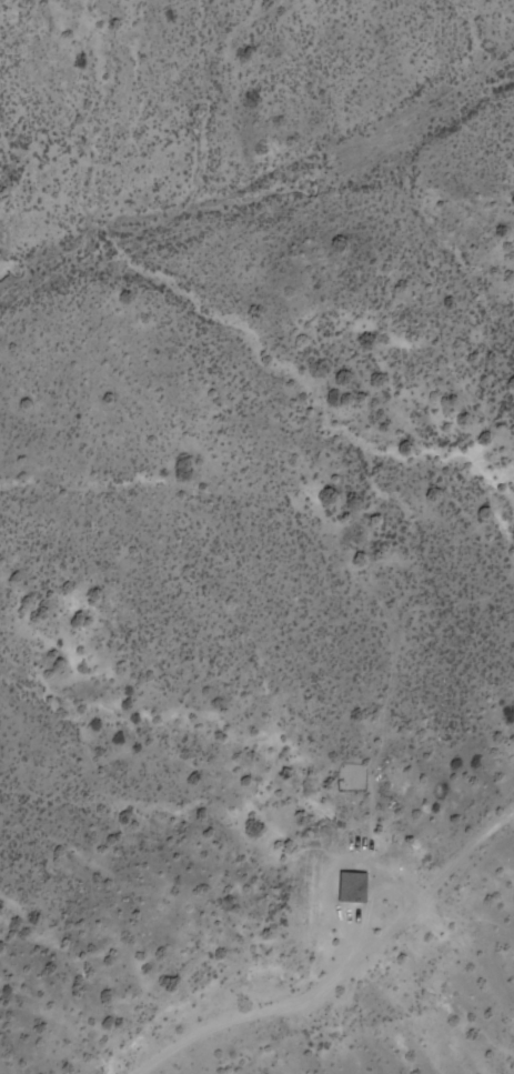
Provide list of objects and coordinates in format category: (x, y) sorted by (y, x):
building: (356, 885)
road: (331, 958)

